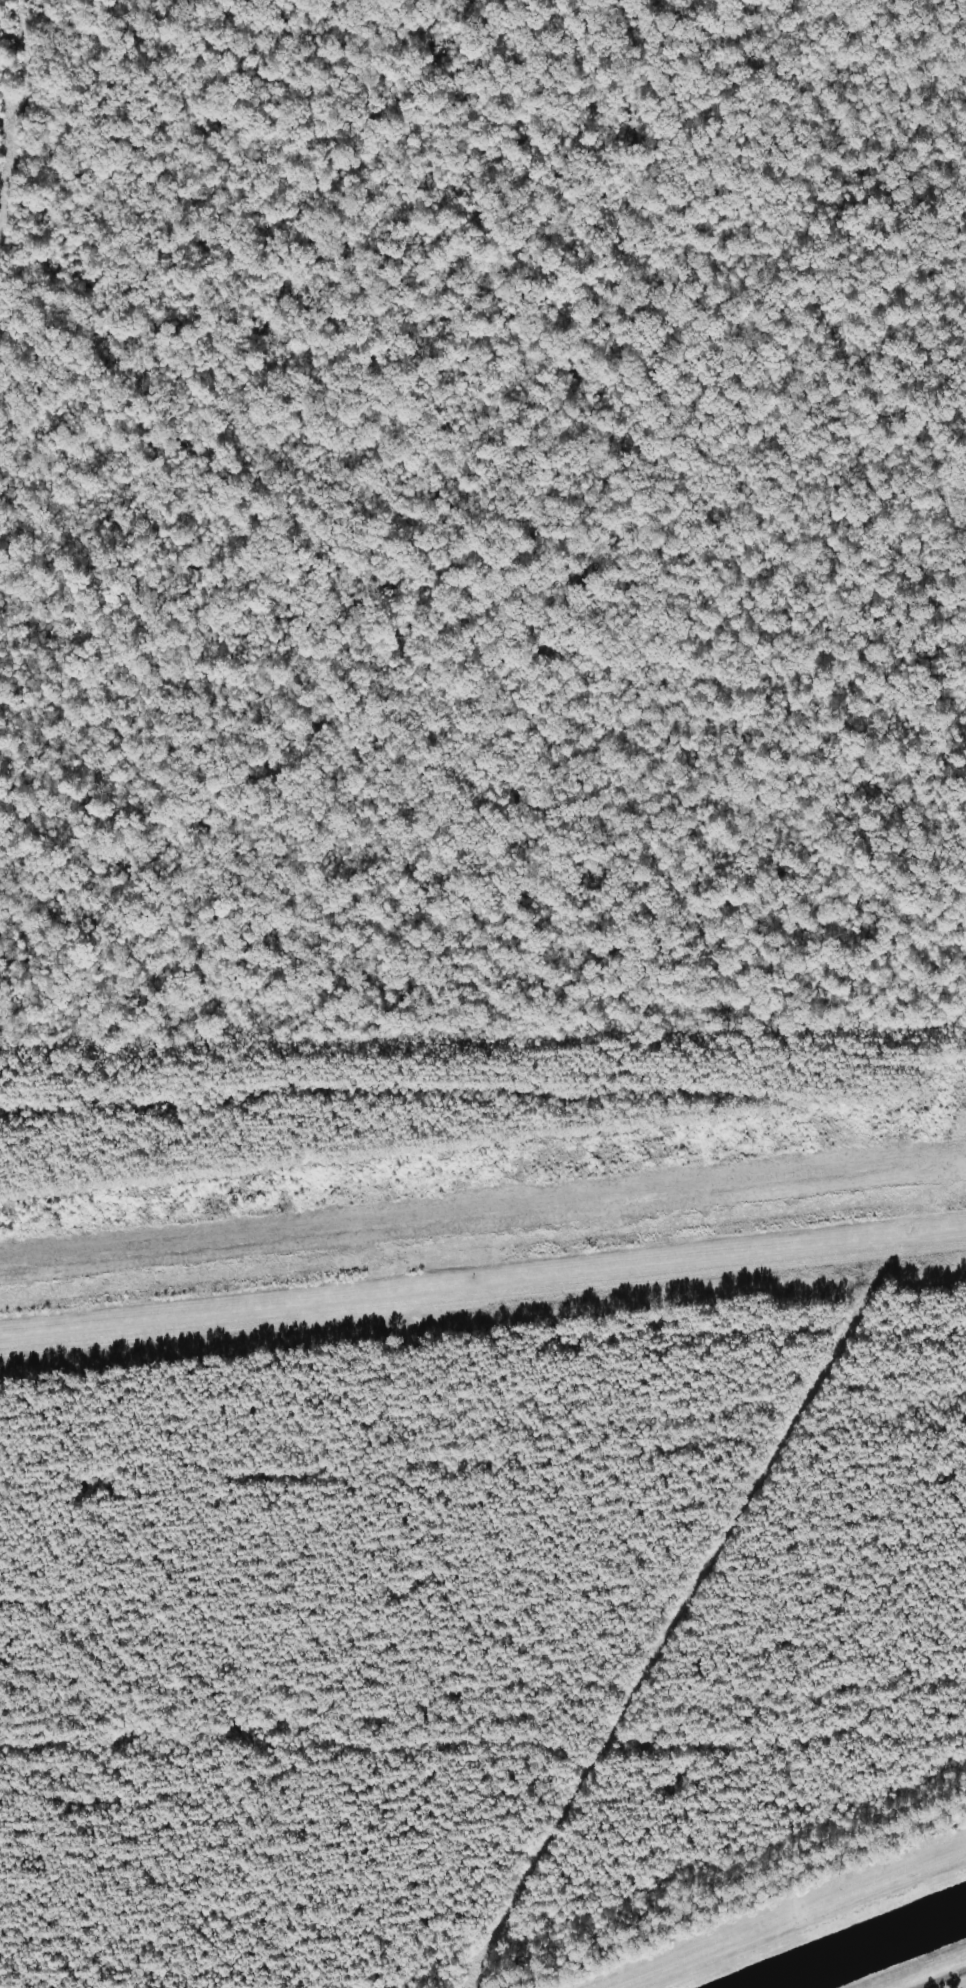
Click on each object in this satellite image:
road: (944, 1979)

